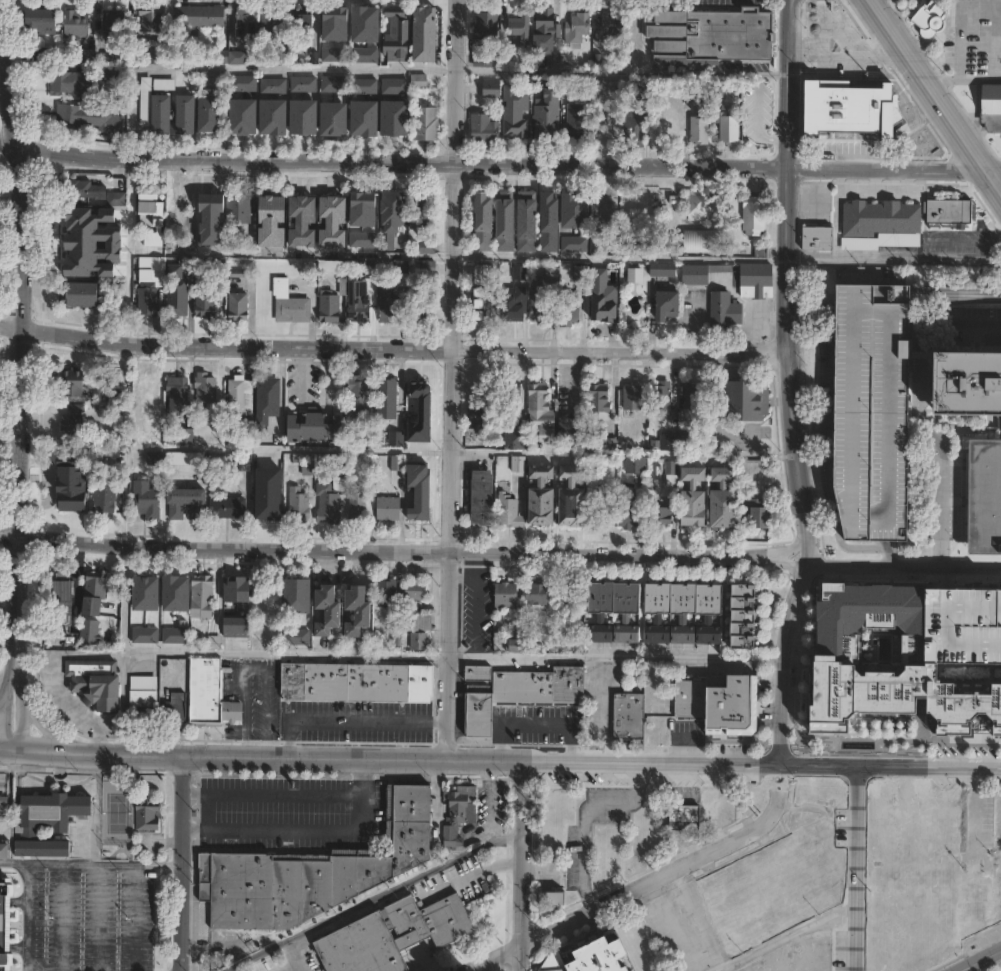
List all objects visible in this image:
building: (199, 17)
building: (43, 20)
building: (153, 20)
building: (926, 21)
building: (77, 23)
building: (248, 23)
building: (333, 23)
building: (304, 24)
building: (116, 25)
building: (273, 25)
building: (609, 25)
building: (517, 28)
building: (578, 30)
building: (365, 33)
building: (428, 33)
building: (398, 34)
building: (542, 36)
building: (484, 37)
building: (710, 39)
building: (43, 55)
building: (157, 55)
building: (105, 58)
building: (235, 58)
building: (341, 58)
road: (976, 67)
road: (512, 70)
building: (112, 74)
building: (215, 76)
road: (963, 79)
building: (418, 80)
building: (73, 83)
building: (166, 84)
building: (244, 84)
building: (274, 84)
building: (335, 84)
building: (306, 85)
building: (393, 85)
road: (928, 85)
building: (366, 87)
building: (639, 88)
building: (715, 88)
building: (490, 90)
building: (147, 101)
building: (990, 107)
building: (702, 108)
building: (848, 110)
building: (512, 112)
building: (163, 114)
building: (188, 114)
building: (212, 114)
building: (84, 116)
building: (543, 116)
building: (393, 117)
building: (246, 118)
building: (368, 120)
building: (576, 120)
building: (338, 121)
building: (275, 122)
building: (306, 123)
building: (427, 124)
building: (637, 126)
building: (482, 129)
building: (726, 129)
building: (605, 130)
building: (698, 130)
building: (668, 131)
road: (493, 163)
road: (995, 171)
road: (790, 177)
road: (995, 179)
building: (92, 192)
building: (210, 205)
building: (699, 206)
building: (423, 207)
building: (240, 208)
building: (393, 208)
building: (574, 209)
building: (949, 210)
building: (606, 211)
building: (756, 216)
road: (128, 218)
building: (152, 218)
building: (548, 218)
building: (306, 219)
building: (880, 219)
building: (482, 220)
building: (503, 220)
building: (524, 220)
building: (76, 221)
building: (271, 221)
building: (337, 224)
road: (958, 237)
building: (221, 238)
building: (818, 238)
road: (992, 238)
building: (571, 243)
building: (673, 246)
building: (429, 247)
road: (201, 253)
road: (427, 255)
building: (77, 258)
road: (736, 260)
road: (894, 260)
building: (664, 270)
building: (582, 273)
building: (554, 275)
building: (697, 275)
building: (759, 275)
building: (636, 276)
building: (150, 285)
building: (178, 292)
building: (84, 295)
road: (954, 295)
building: (365, 300)
building: (395, 302)
building: (207, 303)
building: (334, 303)
building: (540, 303)
building: (291, 304)
building: (671, 305)
building: (239, 307)
building: (484, 308)
building: (421, 309)
building: (513, 309)
building: (602, 309)
building: (570, 310)
building: (725, 310)
road: (393, 347)
road: (20, 356)
road: (450, 380)
building: (85, 382)
building: (967, 383)
building: (207, 389)
building: (151, 391)
building: (424, 391)
building: (178, 394)
building: (511, 395)
building: (241, 396)
building: (361, 396)
building: (663, 396)
building: (696, 397)
building: (632, 398)
building: (388, 399)
building: (539, 399)
building: (747, 400)
building: (270, 401)
building: (602, 402)
road: (923, 407)
building: (868, 410)
parking garage: (868, 410)
building: (480, 412)
building: (73, 422)
building: (318, 429)
building: (575, 431)
building: (140, 436)
building: (187, 436)
building: (396, 439)
building: (517, 441)
building: (367, 442)
building: (679, 443)
road: (794, 449)
road: (415, 451)
road: (641, 452)
road: (750, 454)
building: (156, 459)
building: (185, 460)
building: (245, 463)
building: (398, 464)
building: (512, 465)
building: (637, 466)
building: (667, 478)
building: (537, 497)
building: (567, 497)
building: (985, 497)
building: (481, 498)
building: (756, 498)
building: (103, 499)
building: (147, 500)
building: (689, 500)
building: (719, 500)
building: (188, 504)
building: (329, 505)
building: (299, 506)
building: (266, 507)
building: (228, 508)
building: (390, 510)
building: (358, 511)
building: (507, 512)
building: (643, 513)
road: (401, 548)
road: (804, 550)
road: (901, 565)
road: (944, 578)
building: (98, 585)
building: (234, 591)
building: (297, 591)
building: (416, 591)
building: (144, 592)
building: (174, 592)
building: (389, 593)
building: (540, 594)
building: (507, 597)
building: (63, 598)
building: (203, 598)
building: (570, 599)
building: (331, 613)
building: (361, 613)
building: (656, 613)
building: (745, 618)
building: (419, 622)
building: (961, 625)
parking garage: (961, 625)
building: (90, 633)
building: (144, 634)
building: (174, 634)
building: (295, 636)
building: (420, 642)
building: (518, 648)
road: (232, 652)
road: (529, 655)
road: (643, 657)
building: (830, 659)
road: (783, 660)
road: (255, 666)
road: (7, 676)
building: (357, 681)
building: (97, 684)
road: (2, 687)
building: (522, 690)
building: (208, 693)
building: (692, 697)
building: (141, 701)
building: (733, 703)
road: (3, 704)
road: (17, 705)
building: (176, 707)
road: (70, 708)
building: (626, 718)
road: (349, 719)
road: (535, 723)
road: (39, 724)
road: (500, 762)
road: (273, 794)
building: (3, 805)
road: (582, 811)
building: (460, 812)
building: (147, 813)
road: (974, 813)
road: (490, 815)
building: (551, 818)
building: (682, 818)
building: (50, 823)
road: (308, 829)
building: (3, 849)
road: (183, 863)
road: (13, 864)
road: (52, 864)
road: (520, 866)
road: (857, 868)
building: (315, 871)
road: (537, 871)
road: (468, 875)
road: (631, 890)
building: (552, 896)
building: (982, 903)
road: (100, 917)
road: (136, 917)
building: (10, 922)
building: (396, 935)
road: (786, 937)
building: (589, 956)
road: (985, 956)
road: (423, 963)
road: (295, 964)
road: (962, 967)
road: (27, 970)

